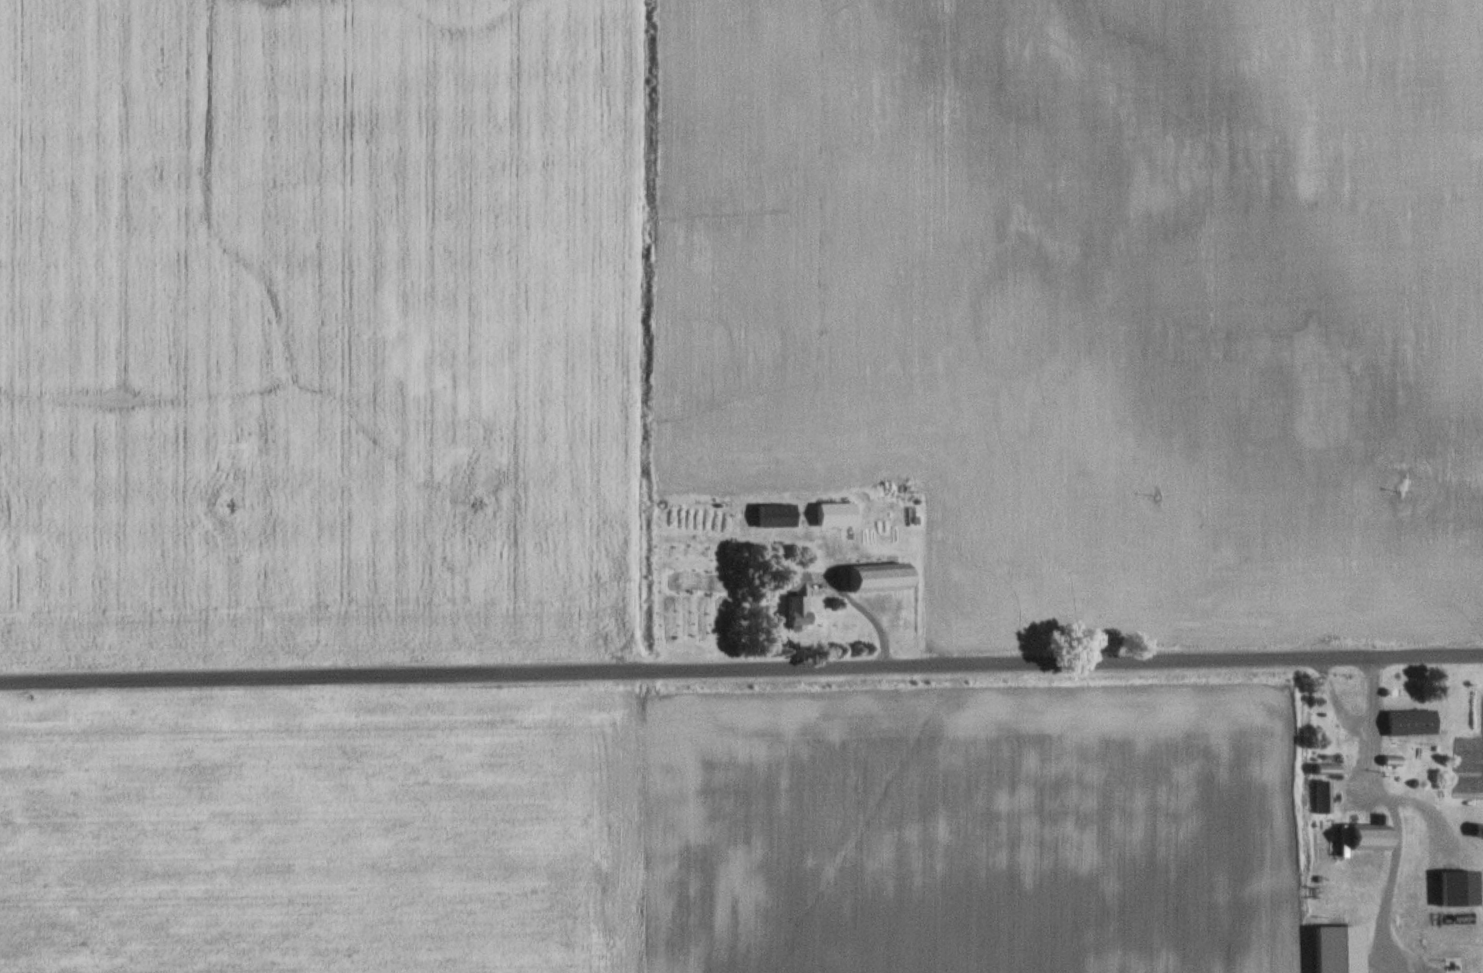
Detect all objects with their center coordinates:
building: (837, 514)
building: (777, 515)
building: (882, 578)
building: (799, 600)
road: (741, 666)
building: (1413, 722)
building: (1328, 770)
building: (1324, 798)
building: (1372, 837)
building: (1461, 889)

